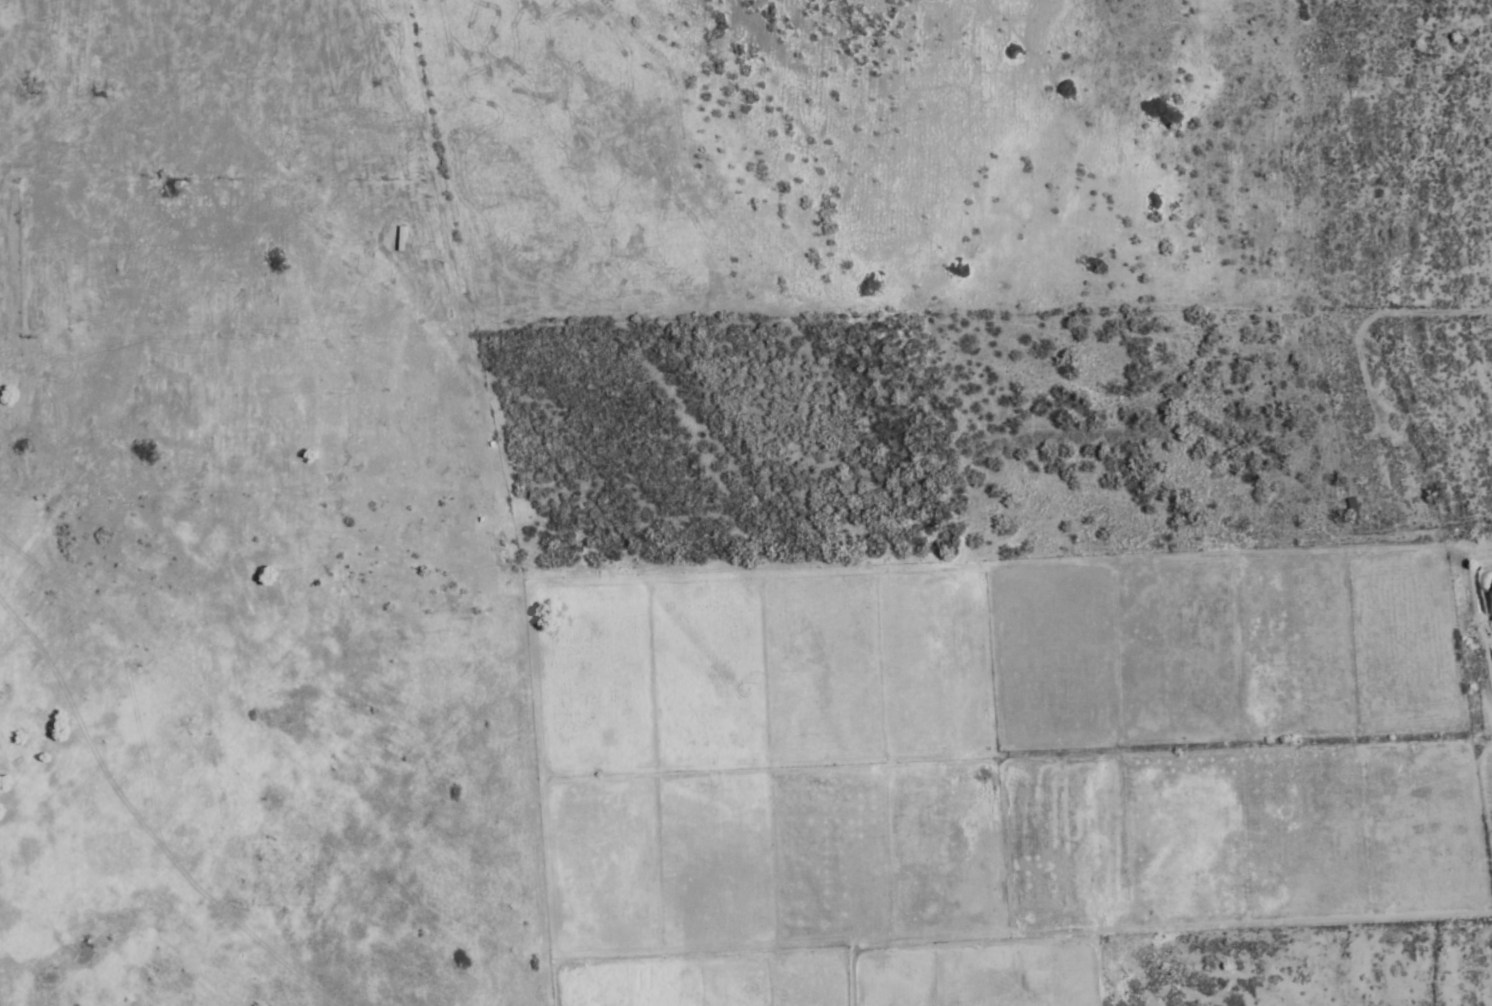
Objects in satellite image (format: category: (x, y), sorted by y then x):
road: (1478, 2)
building: (1352, 510)

